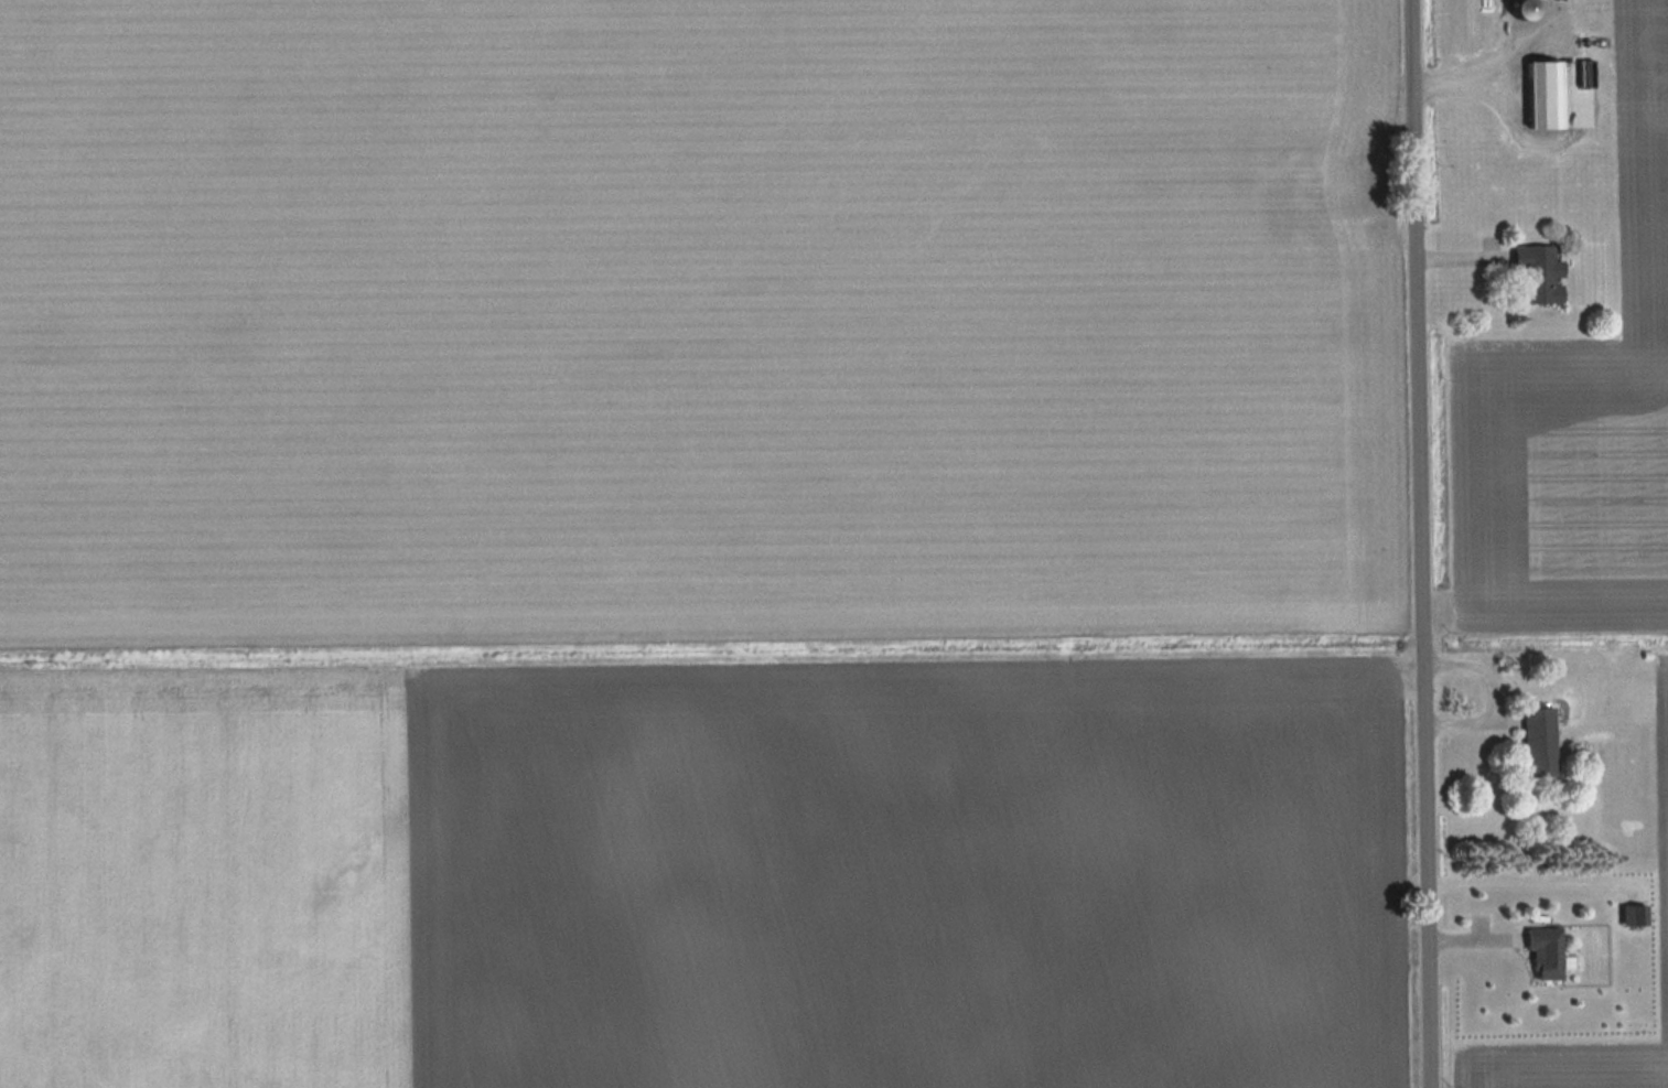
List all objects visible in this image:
building: (1549, 94)
building: (1539, 274)
road: (1425, 543)
building: (1538, 740)
building: (1634, 906)
building: (1549, 952)

